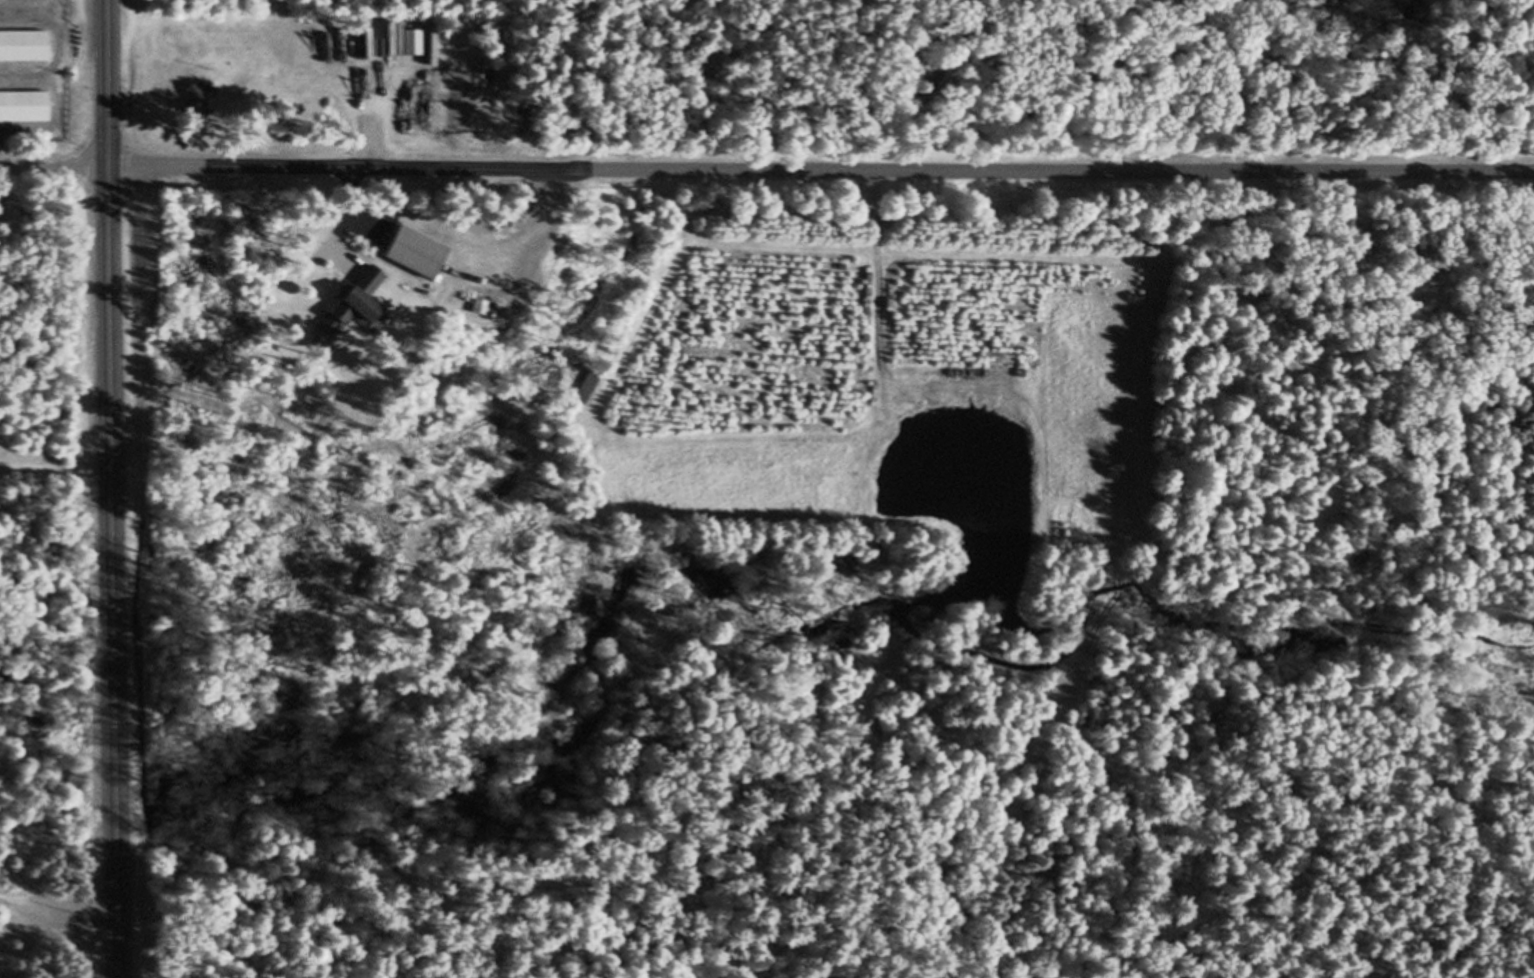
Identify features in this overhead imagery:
building: (362, 45)
building: (21, 47)
building: (375, 50)
building: (195, 100)
building: (22, 107)
road: (767, 169)
building: (407, 253)
building: (351, 298)
building: (582, 387)
road: (112, 489)
road: (58, 917)

